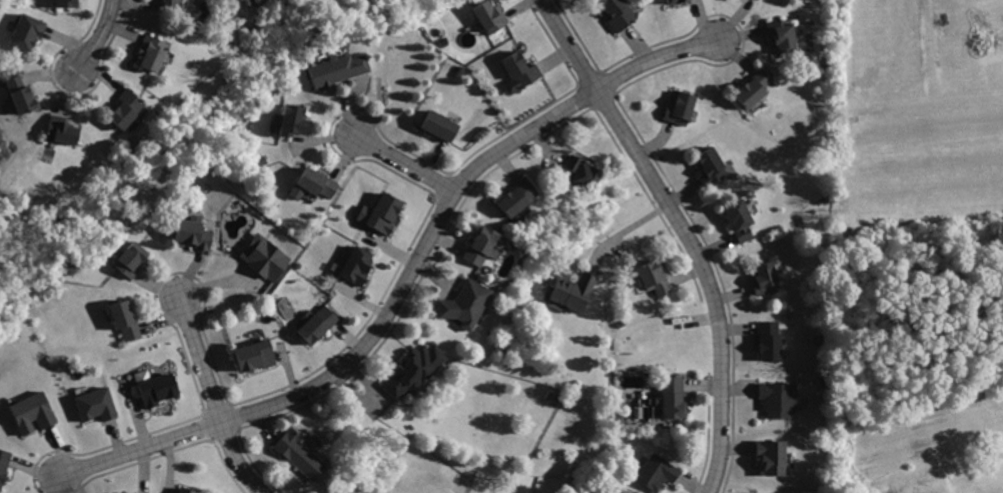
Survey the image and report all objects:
building: (756, 0)
building: (243, 1)
building: (171, 2)
building: (675, 2)
building: (65, 3)
building: (491, 14)
building: (620, 14)
building: (26, 30)
building: (783, 35)
road: (98, 37)
building: (153, 50)
building: (522, 69)
building: (340, 70)
building: (752, 88)
building: (22, 93)
building: (127, 108)
building: (680, 110)
building: (294, 120)
building: (441, 126)
building: (62, 131)
road: (405, 165)
building: (712, 166)
building: (582, 171)
building: (319, 183)
building: (518, 196)
building: (385, 213)
building: (739, 219)
road: (683, 231)
road: (623, 233)
building: (198, 234)
building: (482, 245)
building: (264, 257)
building: (132, 260)
building: (357, 265)
building: (655, 276)
building: (765, 279)
road: (407, 281)
building: (575, 290)
building: (465, 303)
building: (126, 317)
building: (318, 324)
building: (770, 340)
building: (256, 356)
building: (414, 369)
building: (158, 388)
building: (780, 396)
building: (672, 398)
road: (215, 400)
building: (98, 402)
building: (35, 411)
building: (300, 454)
building: (771, 455)
building: (4, 466)
building: (660, 472)
building: (186, 490)
building: (768, 492)

